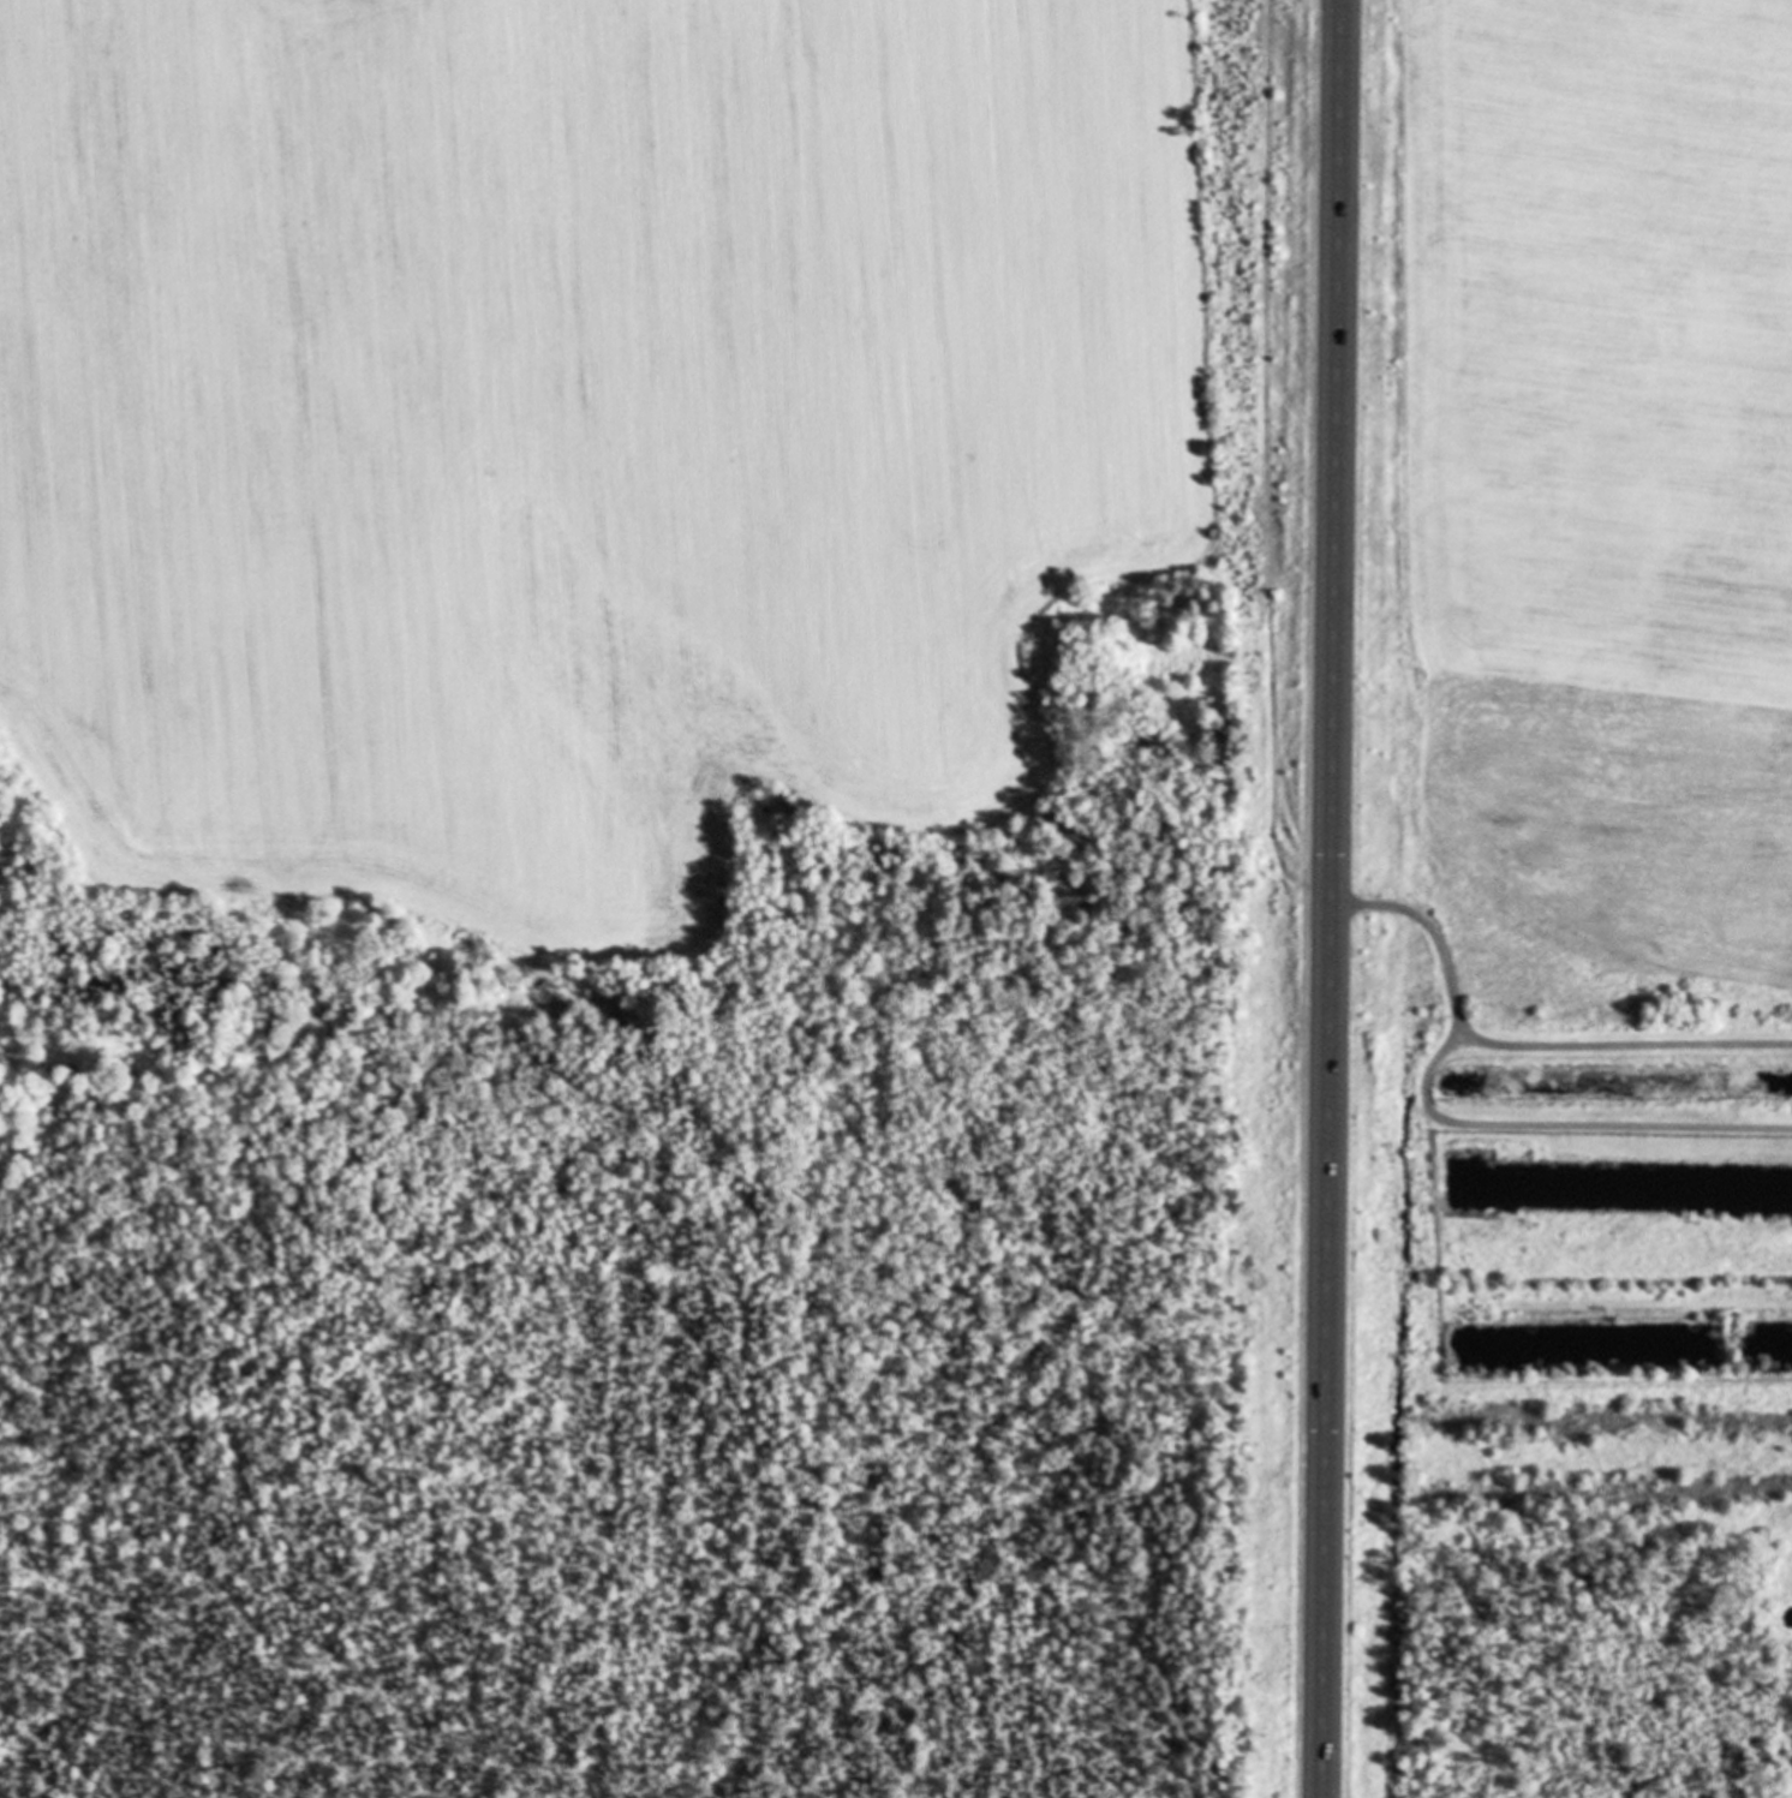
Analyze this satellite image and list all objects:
road: (1328, 898)
road: (1429, 930)
road: (1625, 1045)
road: (1424, 1079)
road: (1623, 1127)

